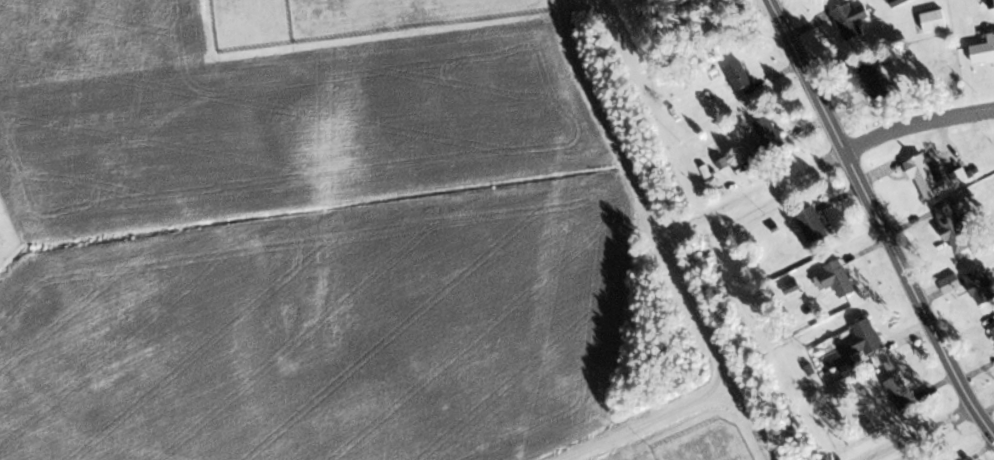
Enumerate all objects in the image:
building: (896, 2)
building: (991, 4)
building: (850, 20)
building: (932, 21)
building: (983, 52)
building: (740, 79)
building: (875, 83)
road: (921, 127)
building: (765, 138)
building: (926, 177)
road: (883, 214)
building: (811, 224)
building: (951, 225)
building: (836, 277)
building: (979, 285)
building: (992, 330)
building: (865, 339)
building: (899, 391)

